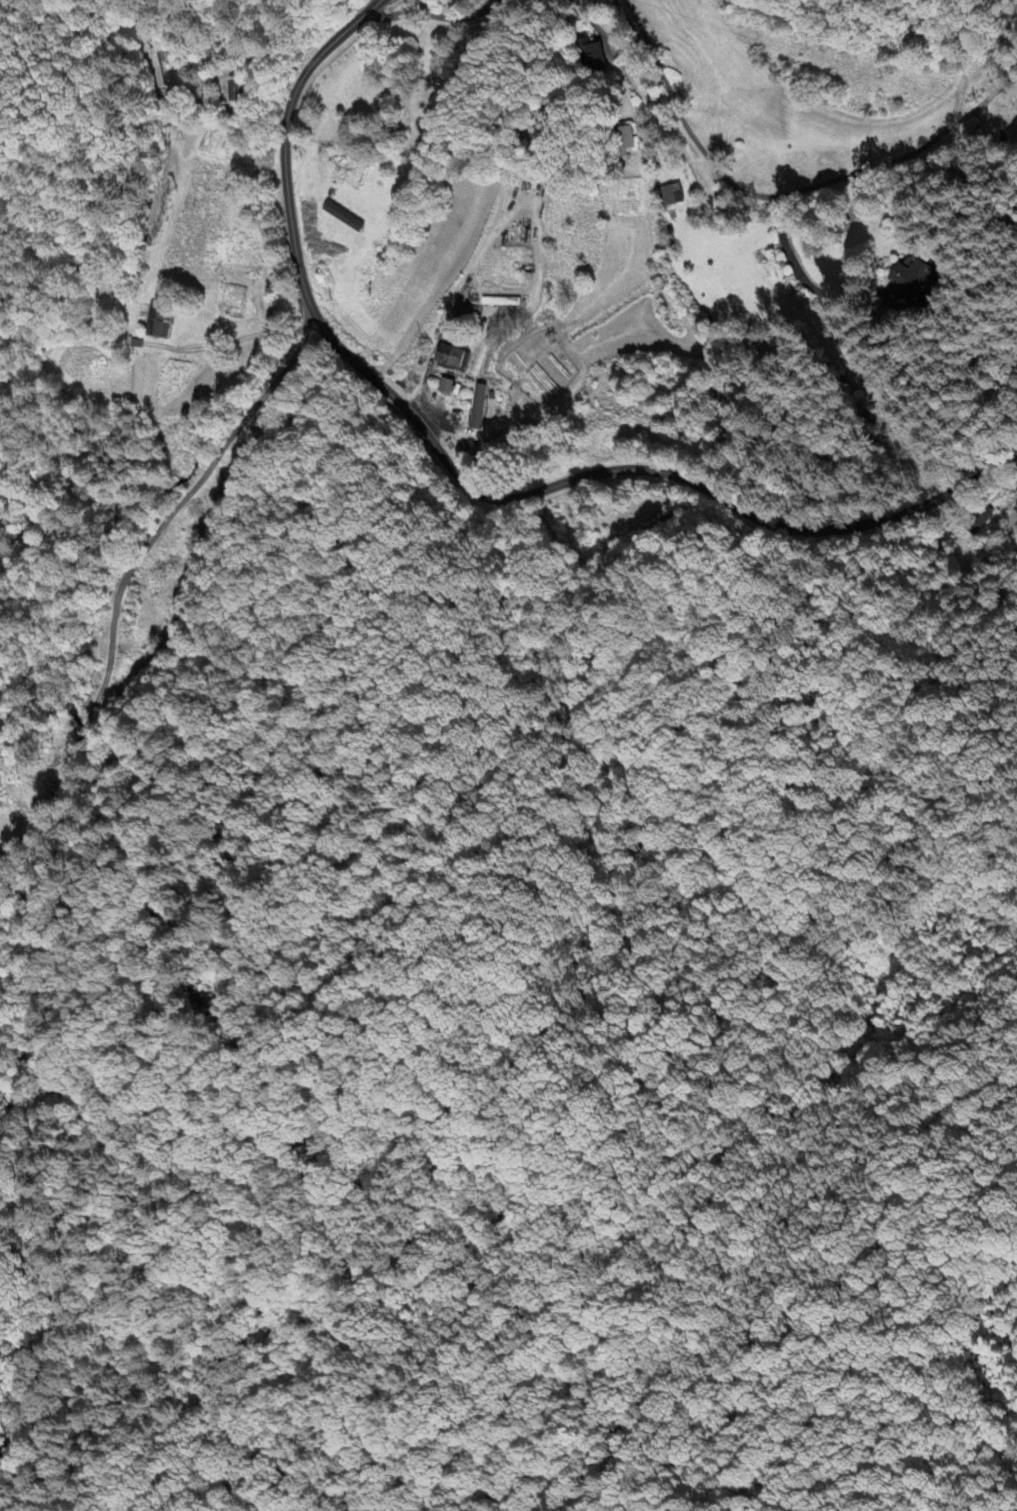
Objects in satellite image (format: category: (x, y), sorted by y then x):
building: (602, 55)
building: (243, 91)
road: (285, 144)
building: (674, 195)
road: (768, 204)
building: (906, 283)
building: (162, 321)
road: (232, 340)
building: (457, 359)
building: (450, 386)
building: (483, 406)
road: (639, 469)
building: (979, 521)
road: (125, 579)

